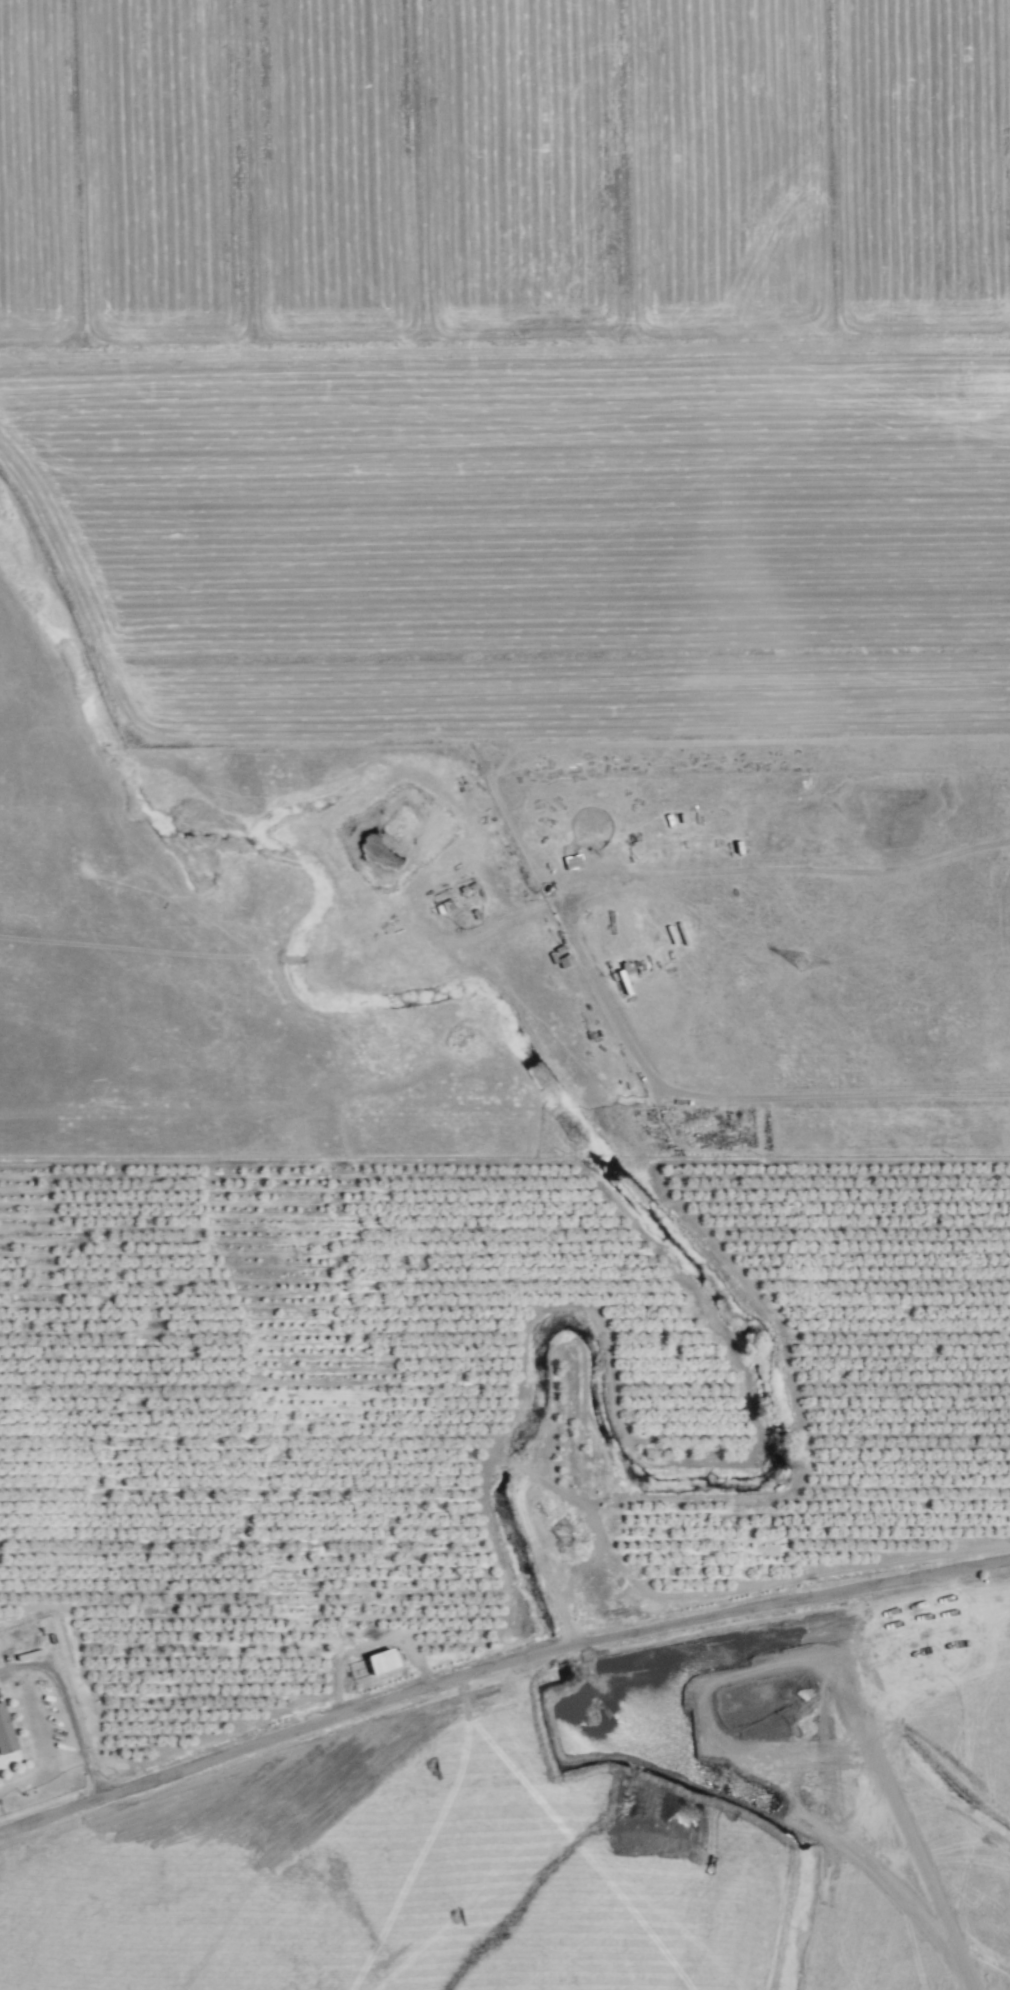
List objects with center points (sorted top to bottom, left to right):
building: (572, 863)
building: (447, 901)
road: (580, 952)
power tower: (800, 965)
building: (380, 1663)
road: (496, 1664)
road: (70, 1710)
building: (5, 1733)

